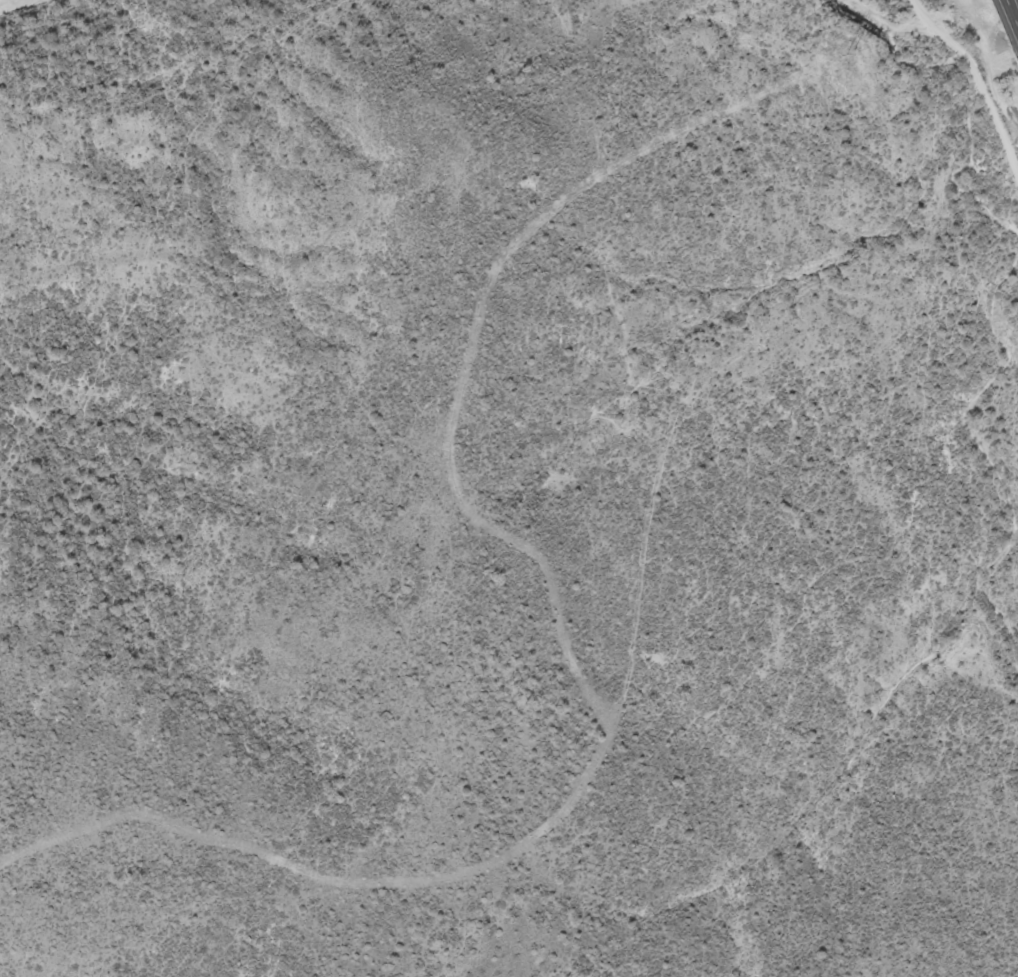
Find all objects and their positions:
road: (1007, 21)
power tower: (846, 54)

